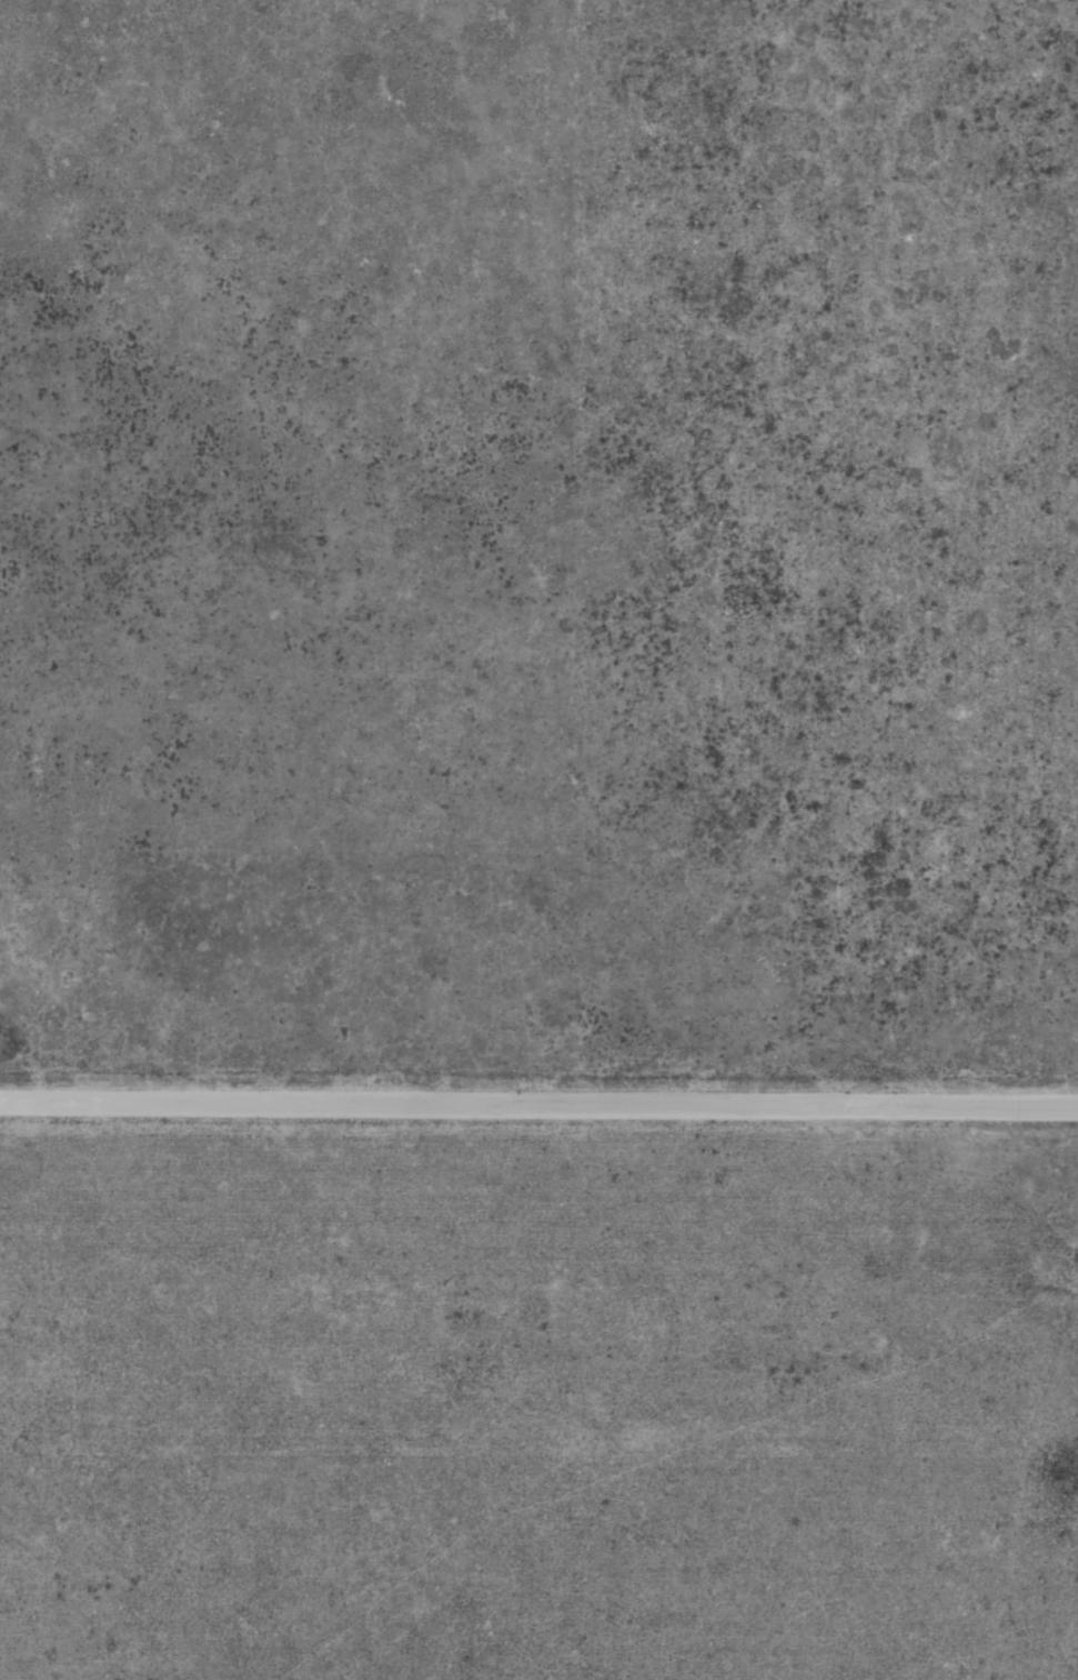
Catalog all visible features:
road: (538, 1109)

